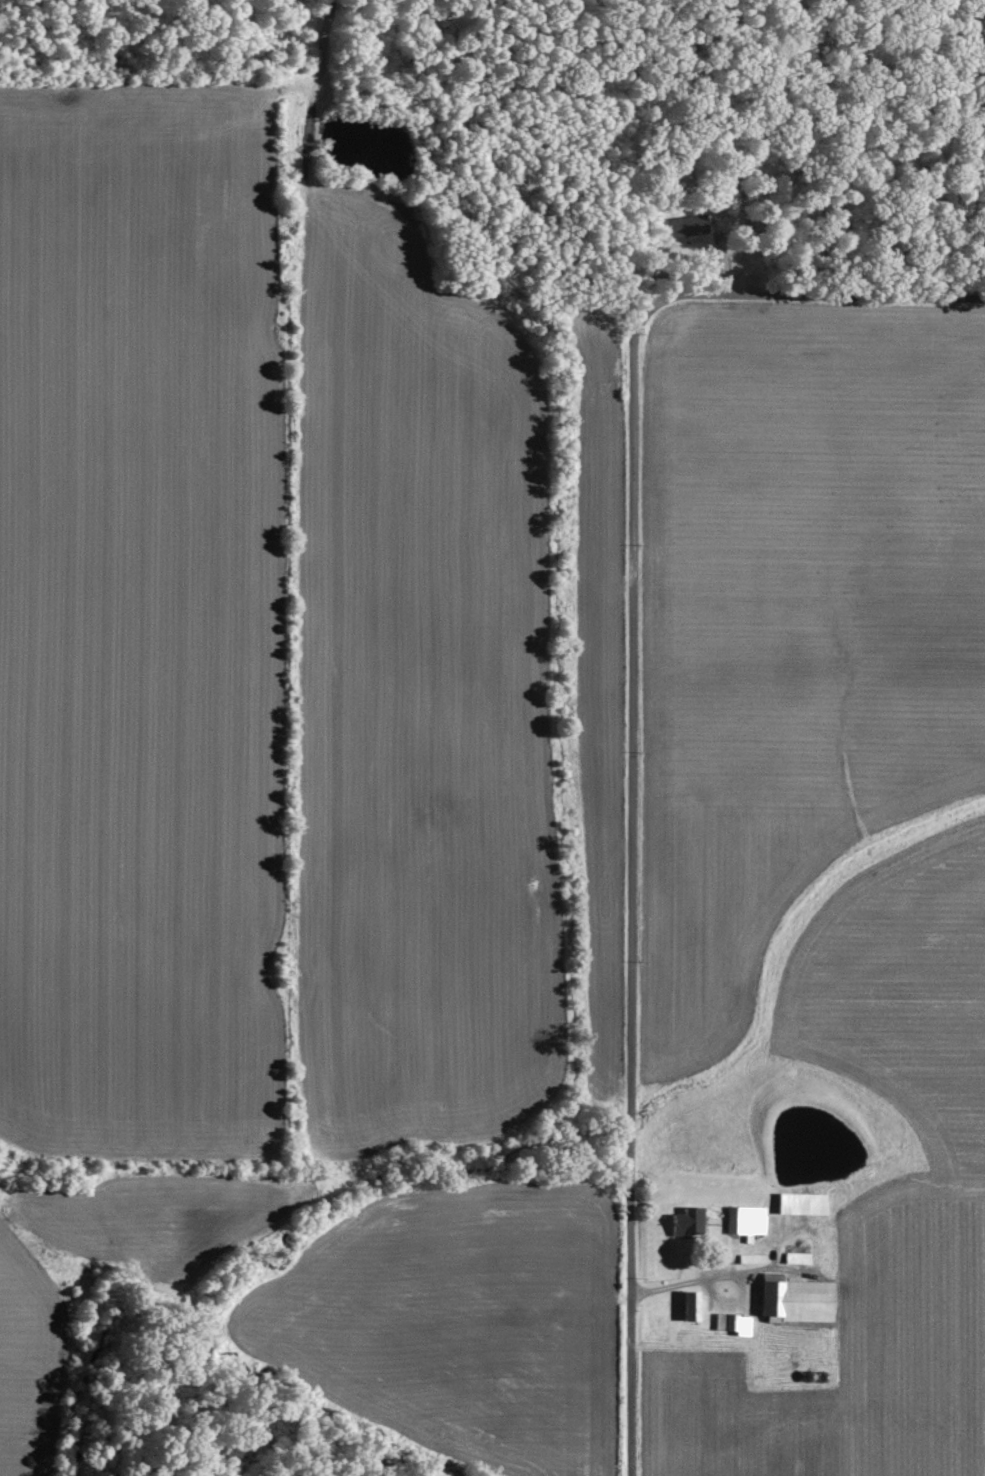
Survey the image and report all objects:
road: (632, 719)
building: (800, 1203)
building: (745, 1220)
building: (689, 1223)
building: (794, 1300)
building: (688, 1307)
building: (731, 1323)

